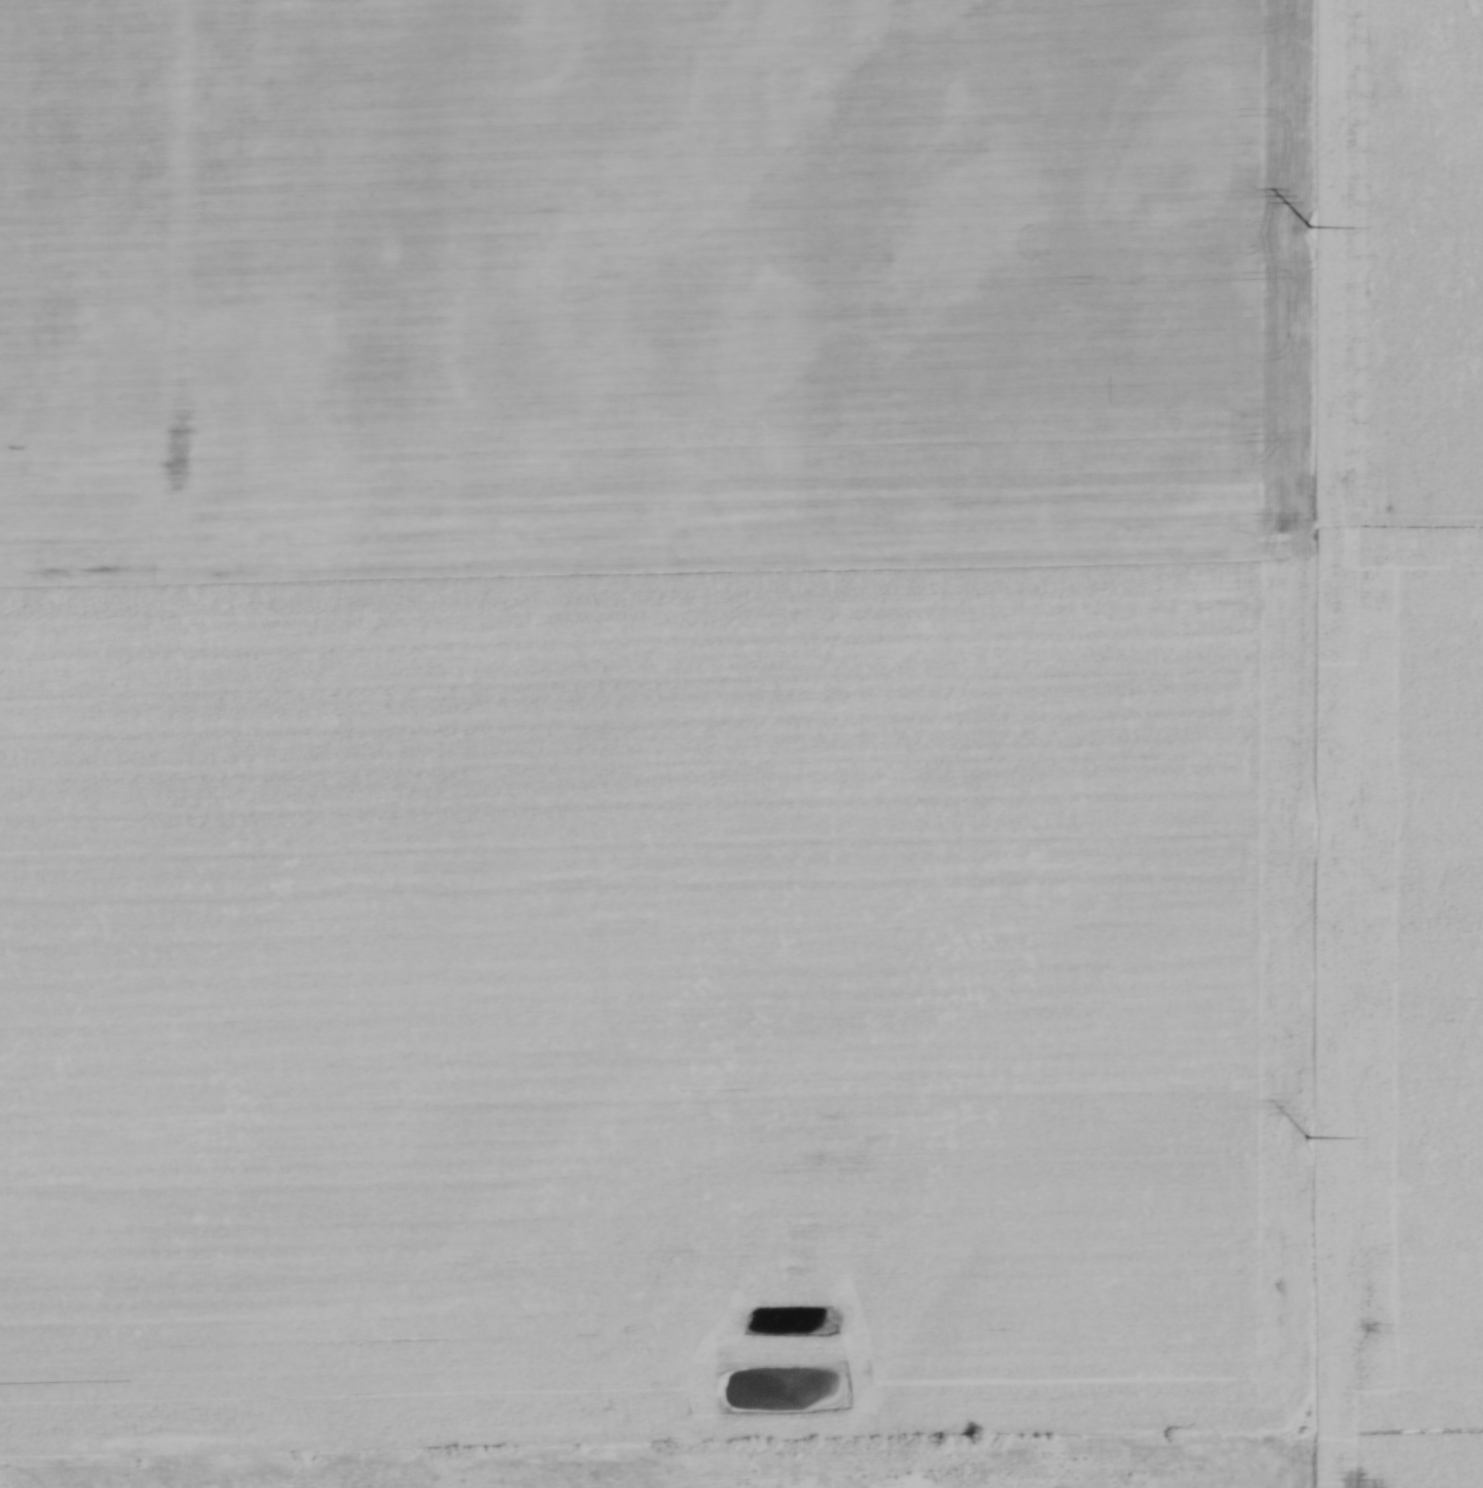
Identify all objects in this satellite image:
power tower: (1310, 227)
power tower: (1305, 1136)

